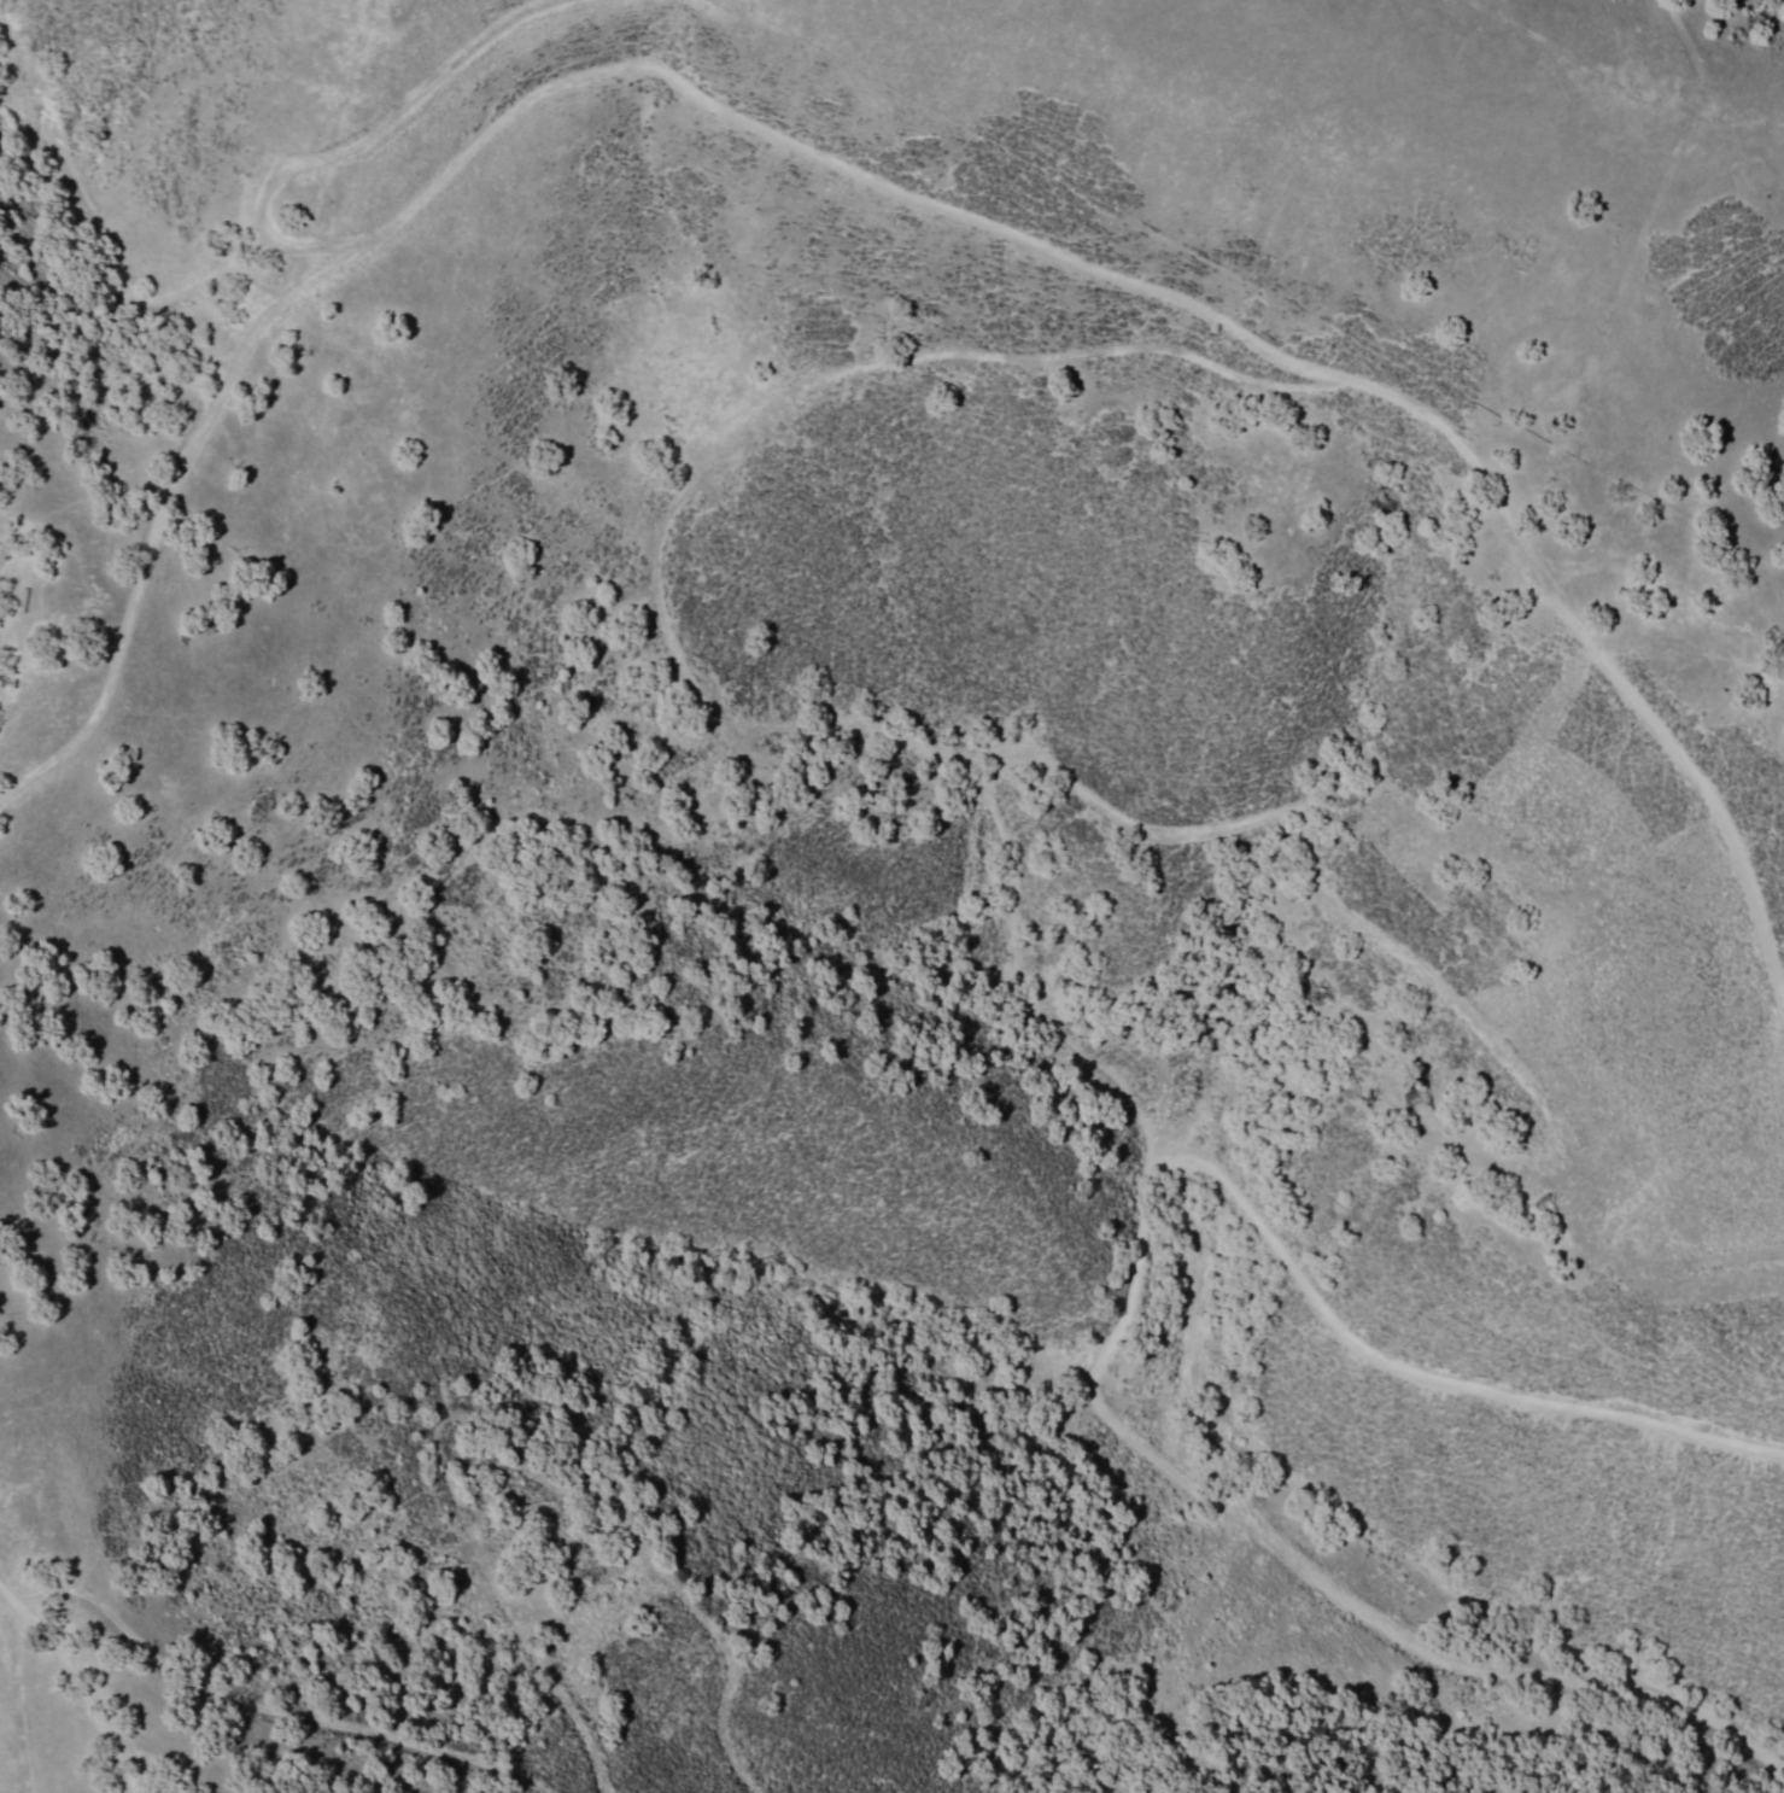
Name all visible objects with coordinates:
road: (1527, 554)
road: (1111, 1309)
road: (80, 1686)

